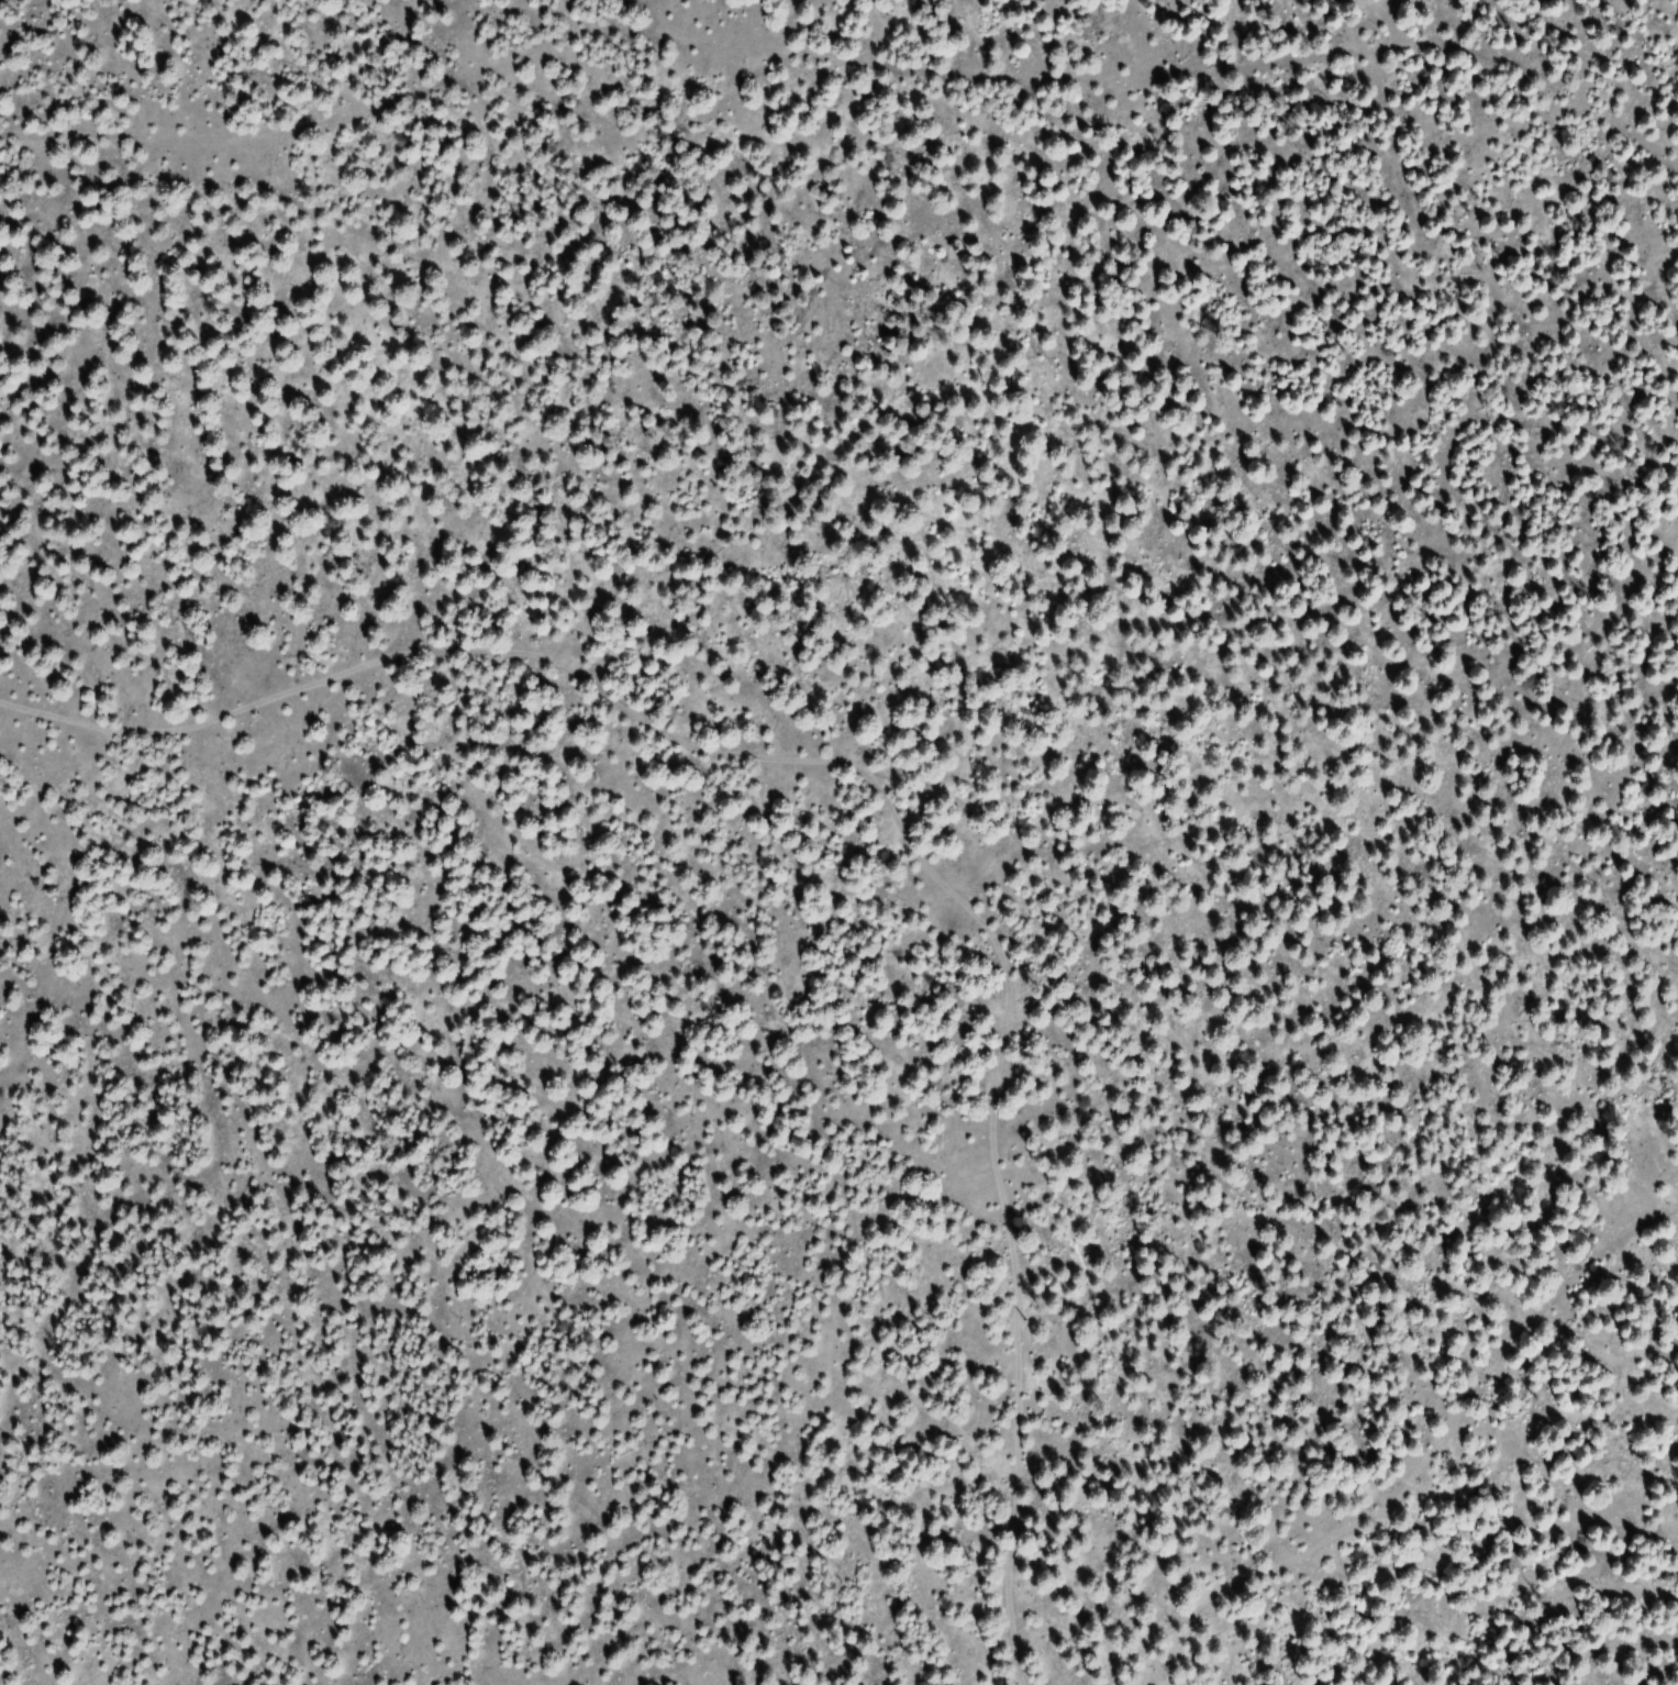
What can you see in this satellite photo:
road: (845, 56)
road: (884, 788)
road: (1412, 1474)
road: (1543, 1544)

